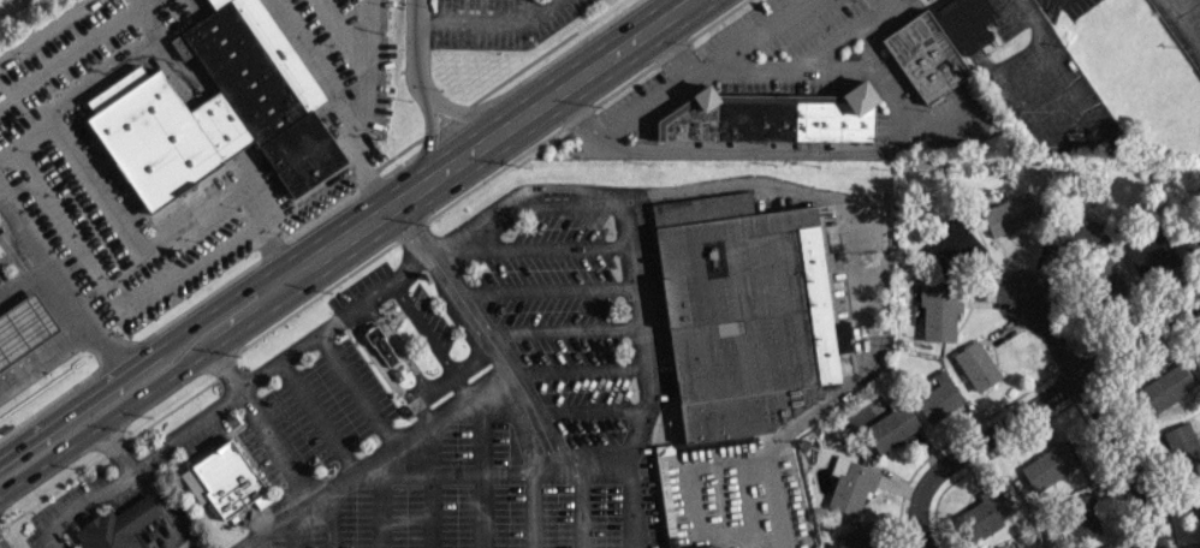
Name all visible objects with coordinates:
road: (883, 1)
road: (1164, 6)
road: (524, 7)
building: (968, 22)
road: (483, 23)
road: (46, 29)
road: (343, 32)
road: (411, 49)
road: (71, 50)
road: (670, 50)
building: (925, 53)
road: (602, 59)
road: (791, 64)
road: (838, 64)
road: (1061, 66)
road: (108, 68)
road: (699, 68)
road: (367, 76)
road: (338, 100)
building: (216, 108)
road: (470, 113)
building: (772, 117)
road: (429, 139)
road: (804, 147)
road: (470, 151)
road: (800, 187)
building: (1009, 213)
road: (357, 228)
building: (1079, 231)
building: (1192, 242)
road: (139, 244)
building: (952, 244)
road: (542, 249)
building: (1152, 250)
building: (1105, 279)
road: (24, 280)
road: (59, 282)
road: (545, 288)
building: (743, 309)
building: (939, 314)
road: (332, 322)
building: (23, 327)
road: (562, 327)
building: (380, 342)
road: (43, 352)
road: (142, 357)
building: (1196, 361)
building: (976, 365)
road: (575, 369)
building: (1164, 387)
road: (152, 389)
road: (1051, 393)
building: (939, 397)
road: (580, 410)
road: (1098, 415)
building: (891, 425)
road: (182, 429)
road: (409, 437)
building: (1183, 446)
building: (1047, 465)
road: (596, 466)
building: (226, 475)
road: (298, 478)
building: (850, 484)
building: (1198, 494)
road: (161, 501)
road: (79, 507)
road: (629, 507)
building: (985, 512)
building: (1082, 516)
building: (115, 524)
road: (919, 525)
building: (854, 538)
building: (700, 546)
building: (1104, 546)

